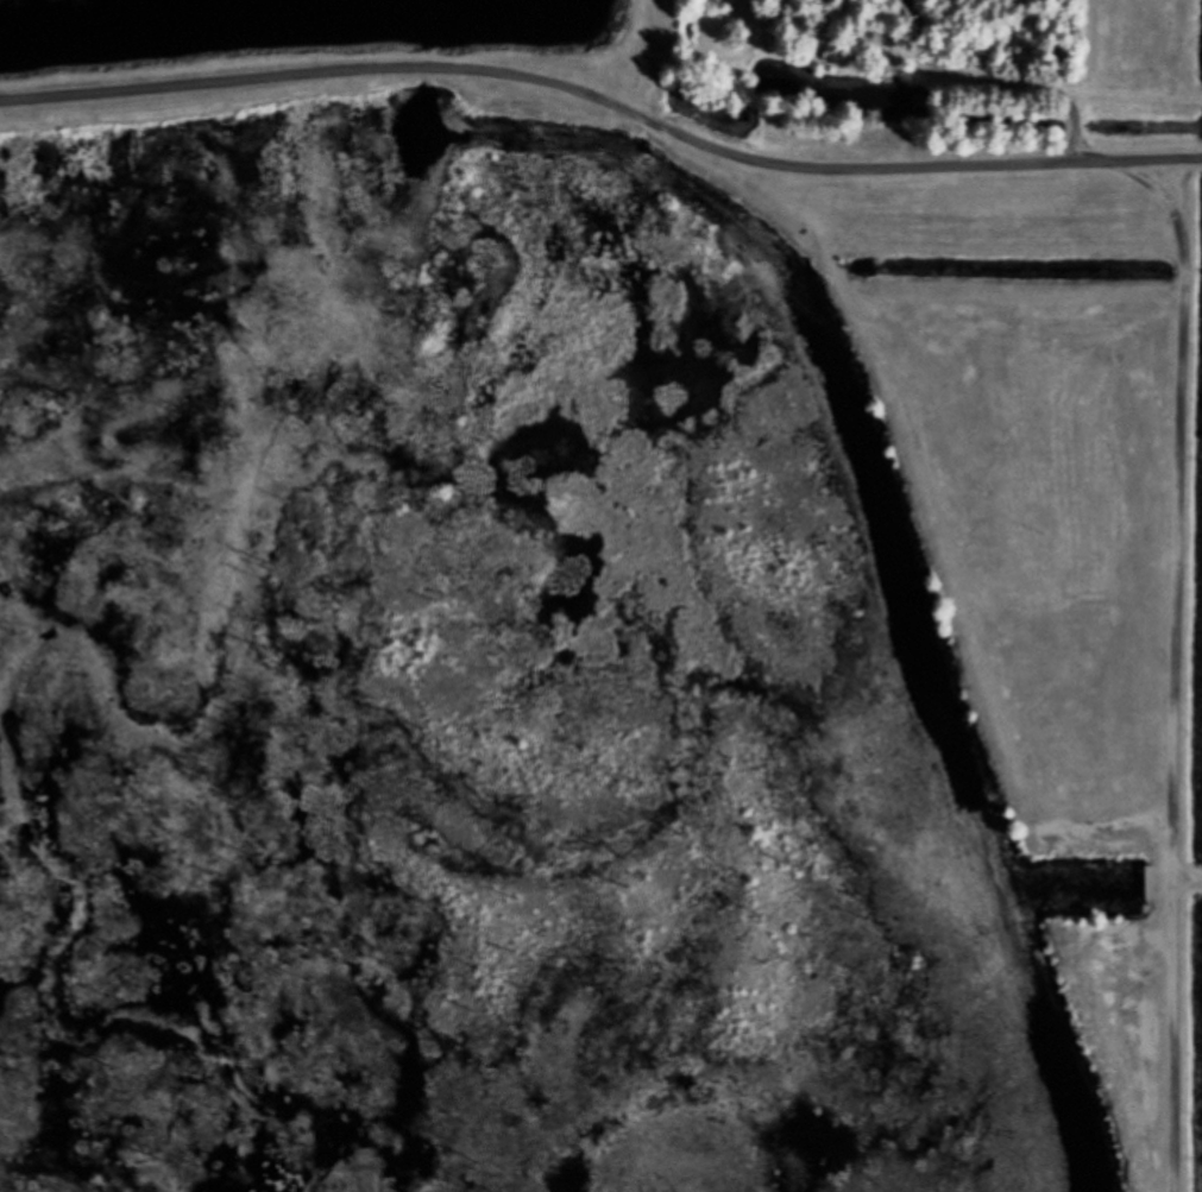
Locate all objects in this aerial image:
road: (600, 163)
building: (1152, 883)

